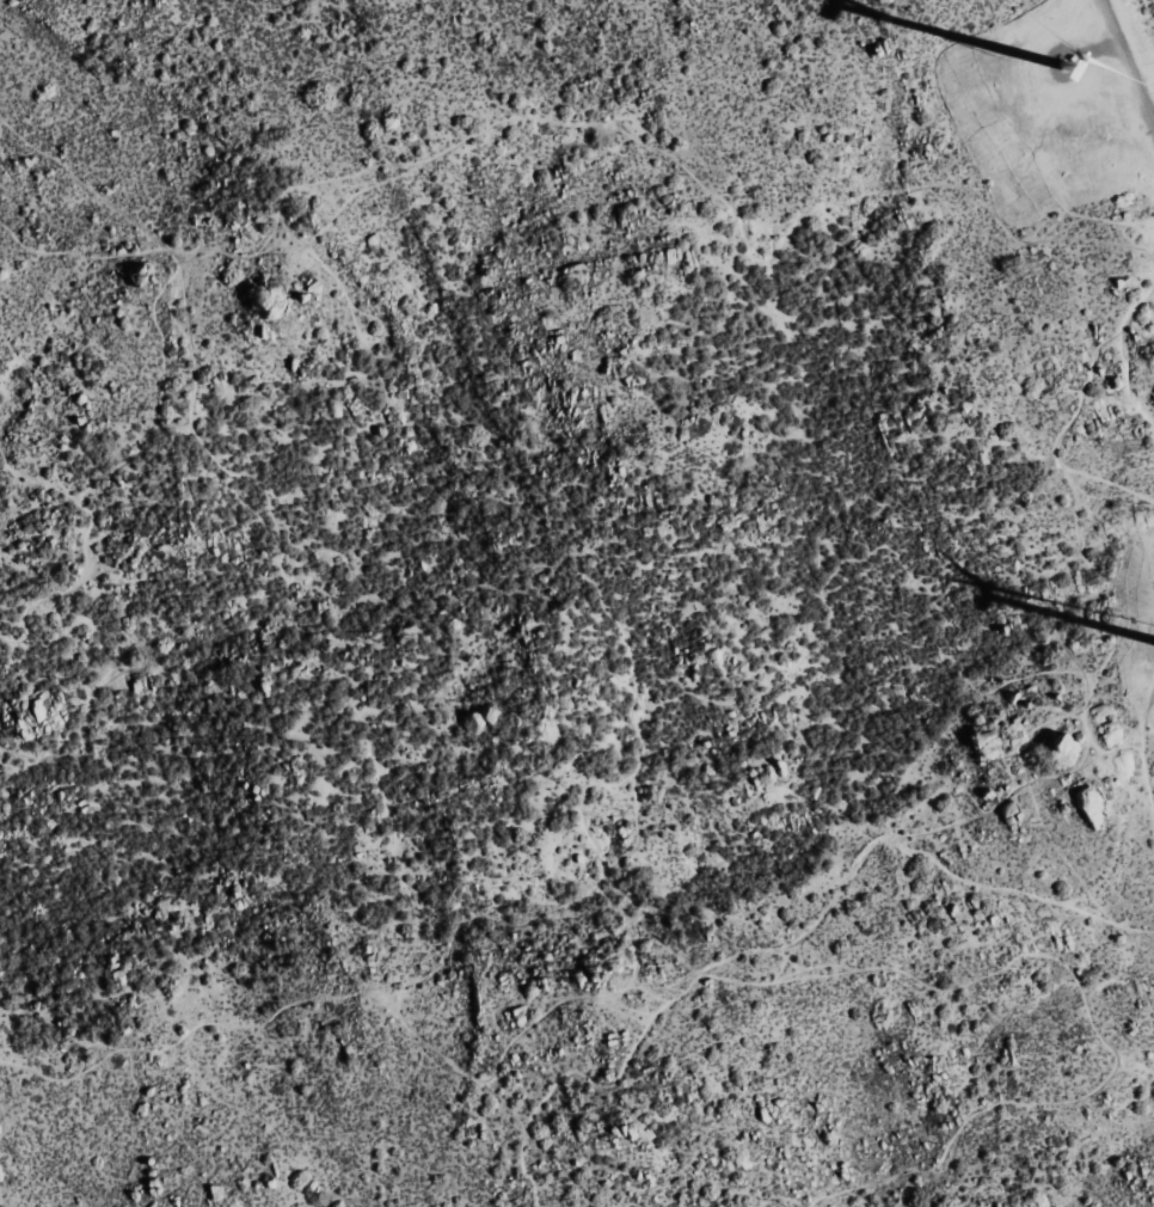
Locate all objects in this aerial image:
road: (1128, 60)
wind turbine: (1061, 69)
road: (796, 944)

